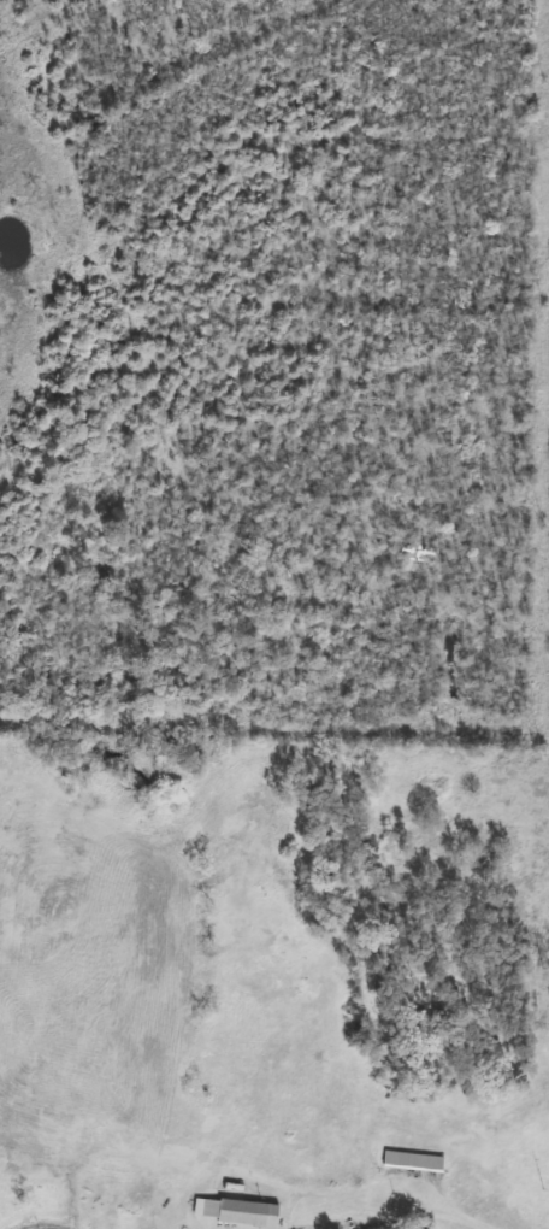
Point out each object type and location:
building: (415, 1163)
road: (392, 1206)
building: (238, 1213)

